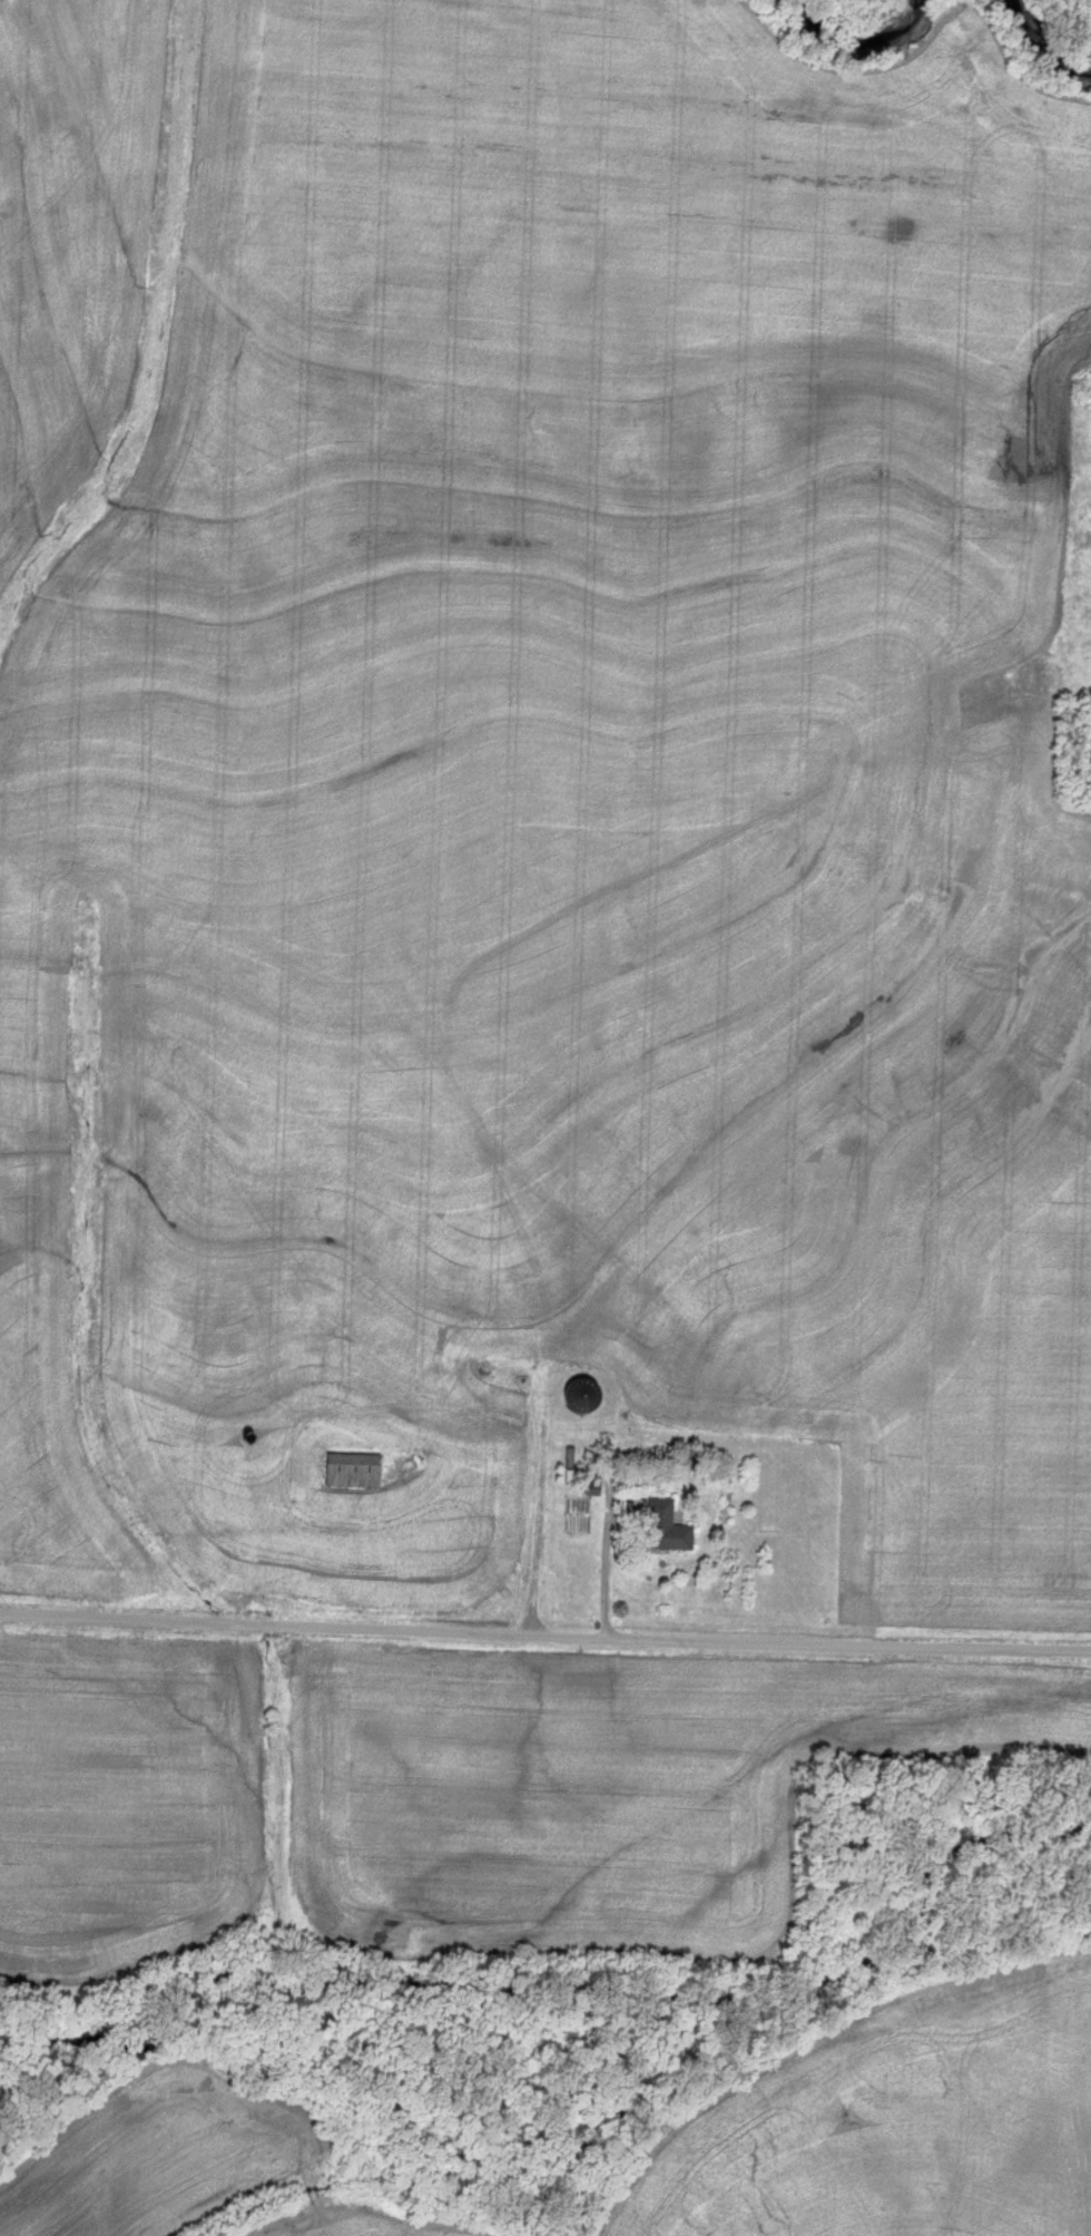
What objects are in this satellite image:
building: (278, 1290)
building: (220, 1328)
building: (355, 1468)
building: (593, 1487)
building: (669, 1526)
road: (603, 1558)
road: (544, 1637)

